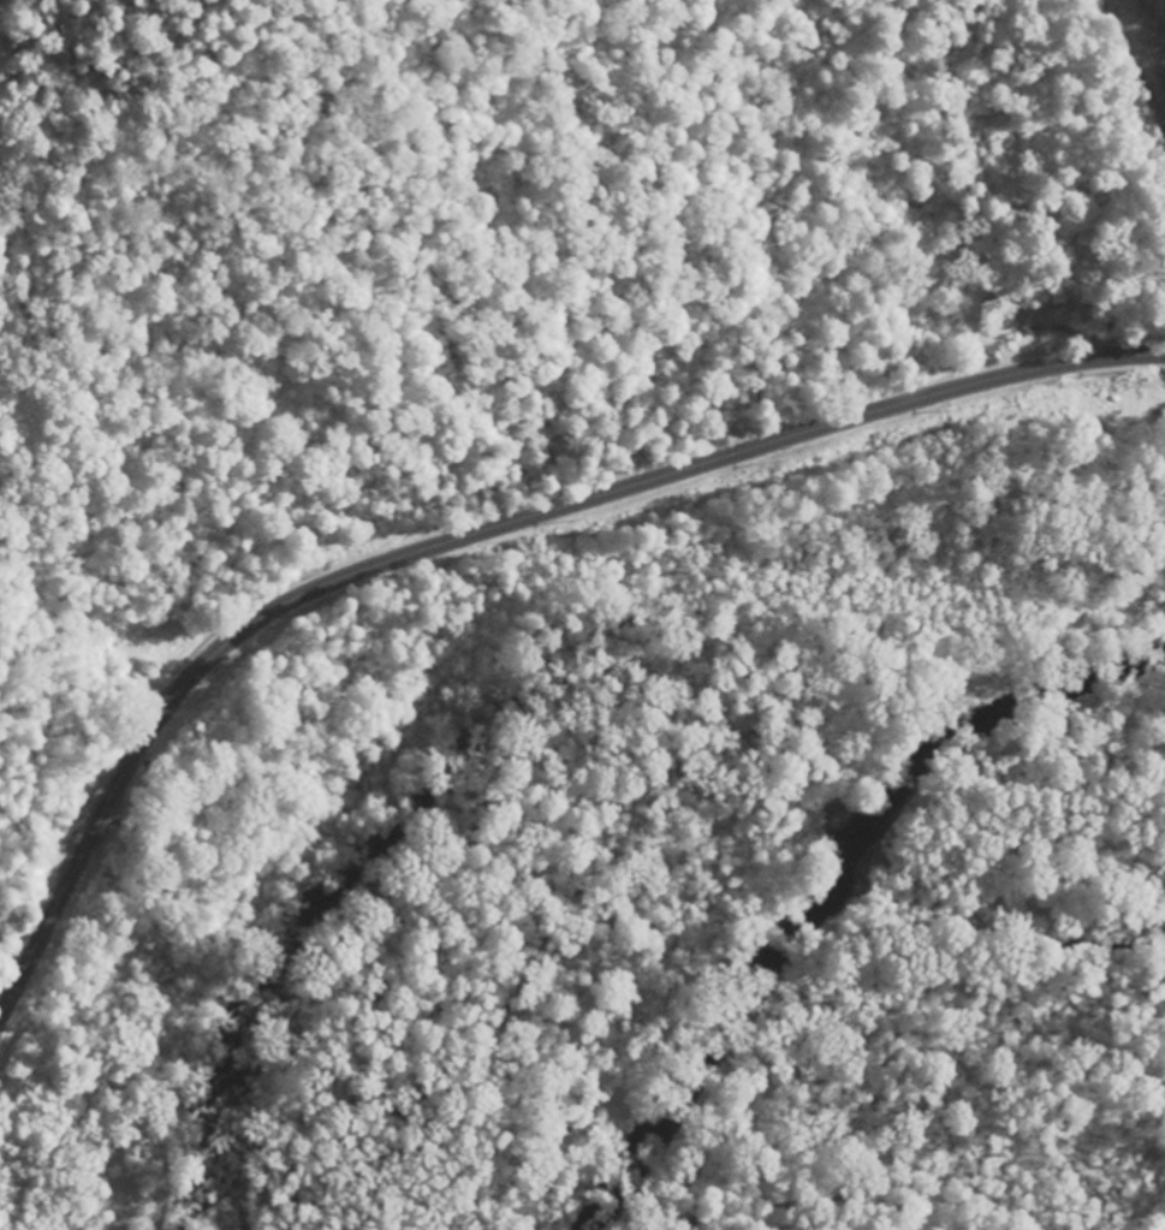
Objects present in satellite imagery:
road: (474, 535)

